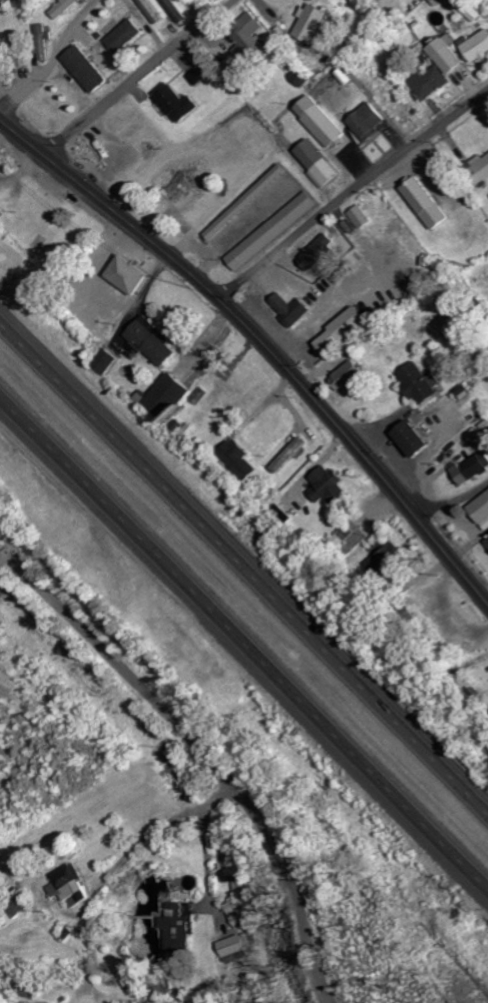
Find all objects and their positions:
building: (440, 2)
building: (66, 9)
building: (473, 10)
building: (153, 12)
building: (312, 24)
building: (127, 37)
road: (67, 38)
building: (250, 40)
building: (45, 45)
building: (478, 49)
building: (23, 56)
building: (453, 58)
building: (89, 71)
road: (138, 77)
building: (434, 84)
road: (397, 103)
building: (179, 104)
building: (371, 123)
building: (325, 126)
building: (320, 166)
building: (181, 187)
road: (350, 194)
building: (248, 204)
building: (429, 205)
building: (362, 219)
building: (274, 233)
building: (320, 253)
building: (131, 277)
building: (292, 310)
building: (344, 333)
building: (153, 343)
road: (262, 345)
building: (107, 363)
building: (349, 377)
building: (421, 384)
building: (169, 398)
building: (415, 439)
building: (289, 456)
building: (238, 460)
building: (473, 468)
building: (327, 485)
road: (455, 506)
building: (342, 536)
building: (386, 562)
road: (244, 573)
road: (244, 634)
road: (201, 753)
road: (122, 860)
road: (205, 867)
building: (71, 884)
building: (20, 907)
building: (237, 916)
building: (180, 929)
building: (235, 947)

